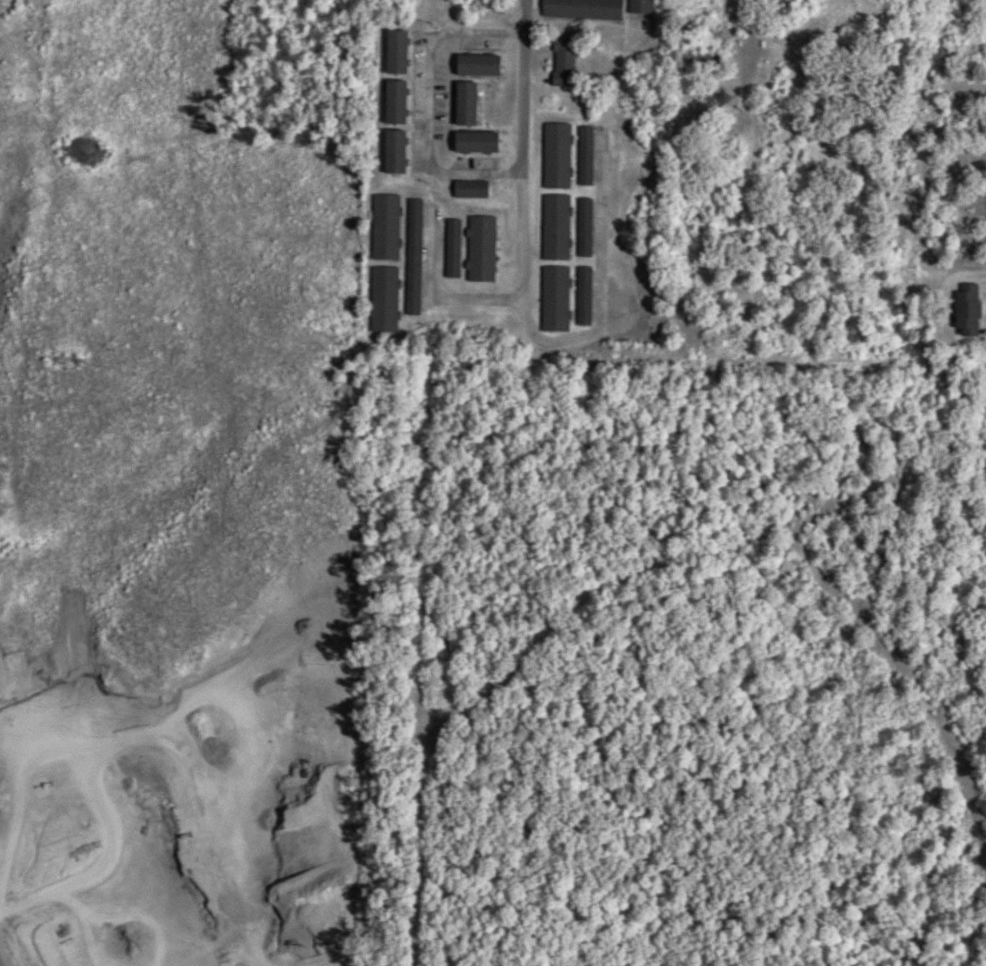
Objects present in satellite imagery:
building: (640, 6)
building: (581, 9)
road: (529, 19)
road: (430, 50)
building: (395, 52)
building: (563, 62)
building: (477, 65)
road: (748, 67)
building: (395, 102)
building: (465, 104)
building: (475, 143)
building: (394, 152)
building: (556, 156)
building: (584, 156)
building: (470, 189)
building: (385, 227)
building: (555, 227)
building: (584, 227)
building: (452, 248)
building: (413, 249)
building: (480, 249)
building: (583, 297)
road: (436, 298)
building: (554, 299)
building: (383, 300)
building: (966, 309)
road: (526, 321)

